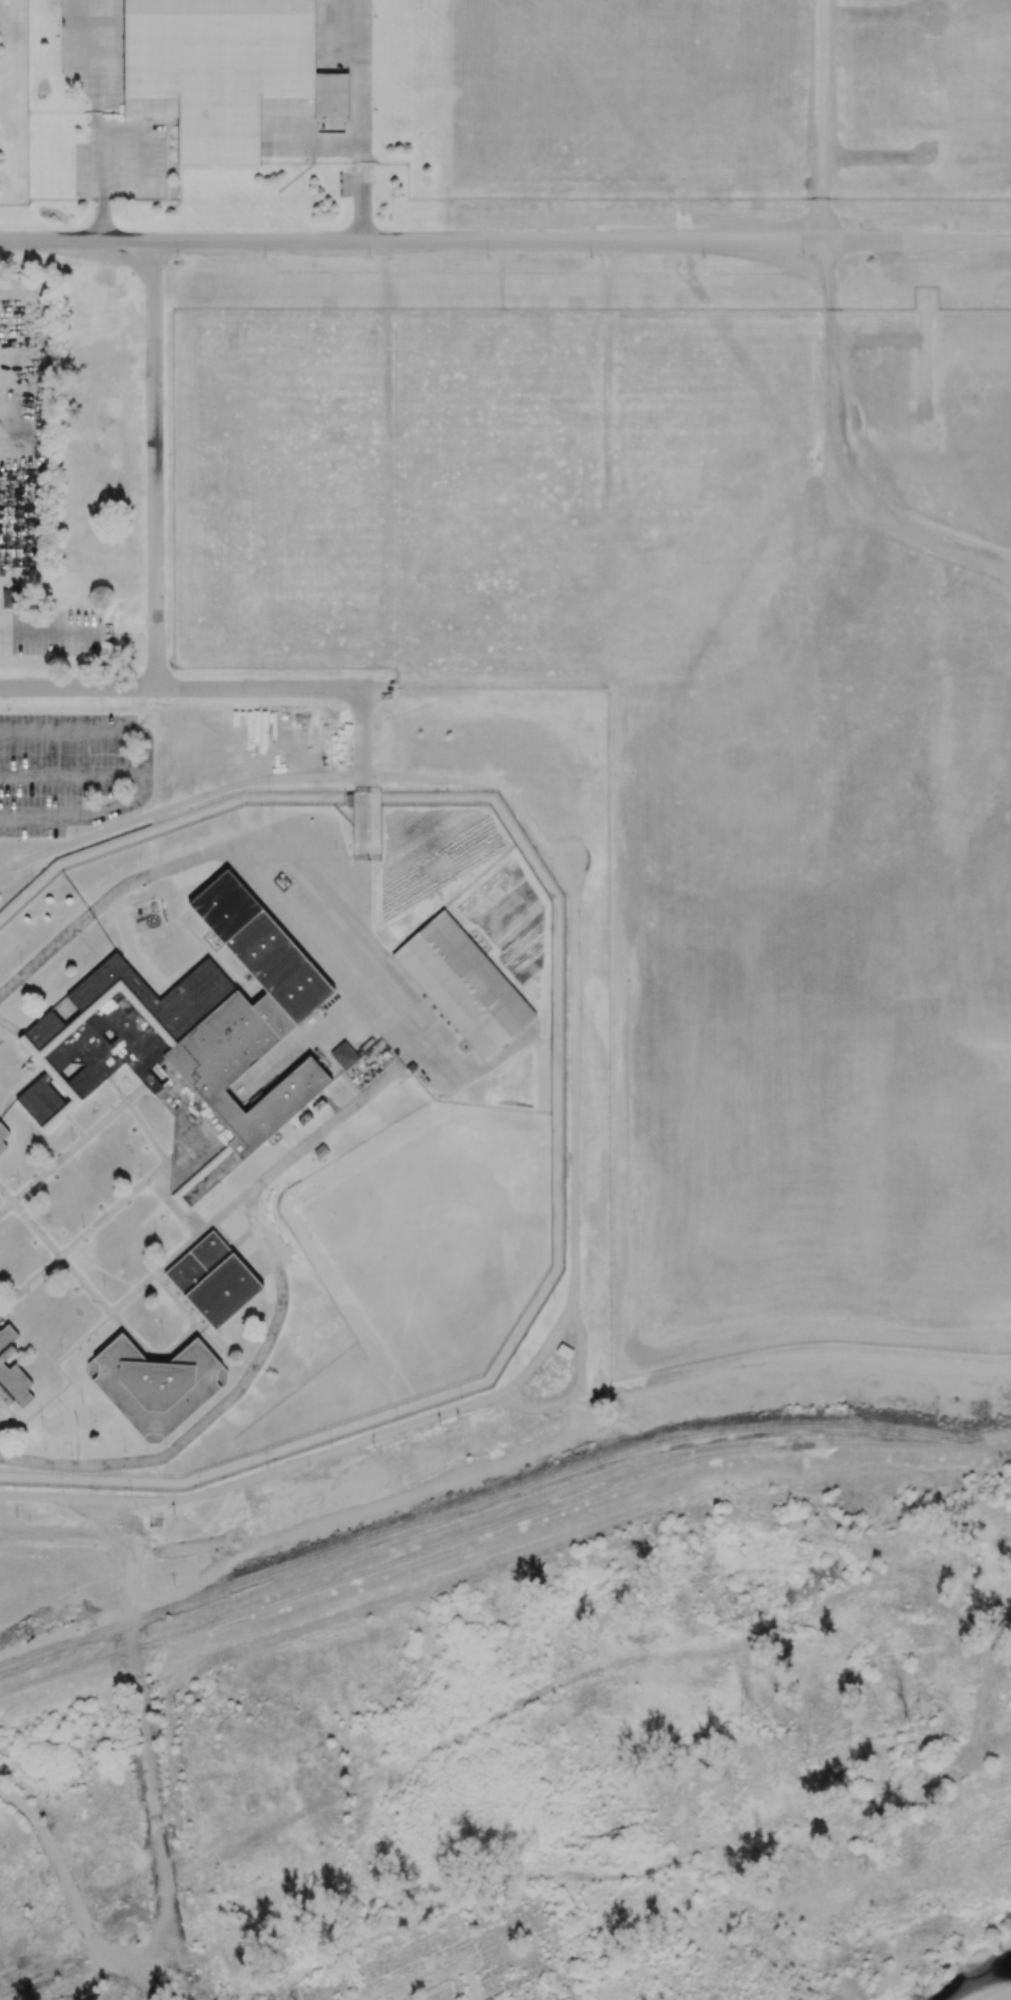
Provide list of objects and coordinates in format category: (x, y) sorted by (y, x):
building: (224, 72)
road: (101, 119)
road: (363, 119)
road: (825, 120)
airport: (531, 148)
road: (413, 240)
road: (919, 241)
road: (879, 445)
road: (154, 464)
road: (833, 578)
building: (11, 599)
road: (42, 631)
parking lot: (50, 633)
road: (194, 688)
road: (147, 766)
parking lot: (70, 770)
road: (74, 774)
road: (362, 780)
road: (169, 867)
building: (463, 986)
road: (11, 1026)
building: (189, 1041)
building: (344, 1056)
road: (18, 1088)
road: (574, 1088)
road: (116, 1089)
road: (74, 1126)
building: (3, 1137)
road: (72, 1147)
road: (254, 1220)
road: (85, 1234)
park: (430, 1240)
road: (284, 1268)
building: (213, 1280)
road: (99, 1301)
road: (88, 1336)
building: (12, 1370)
building: (155, 1385)
road: (574, 1387)
road: (0, 1402)
railway: (1009, 1450)
railway: (481, 1500)
road: (912, 1584)
road: (131, 1649)
park: (552, 1767)
road: (57, 1860)

